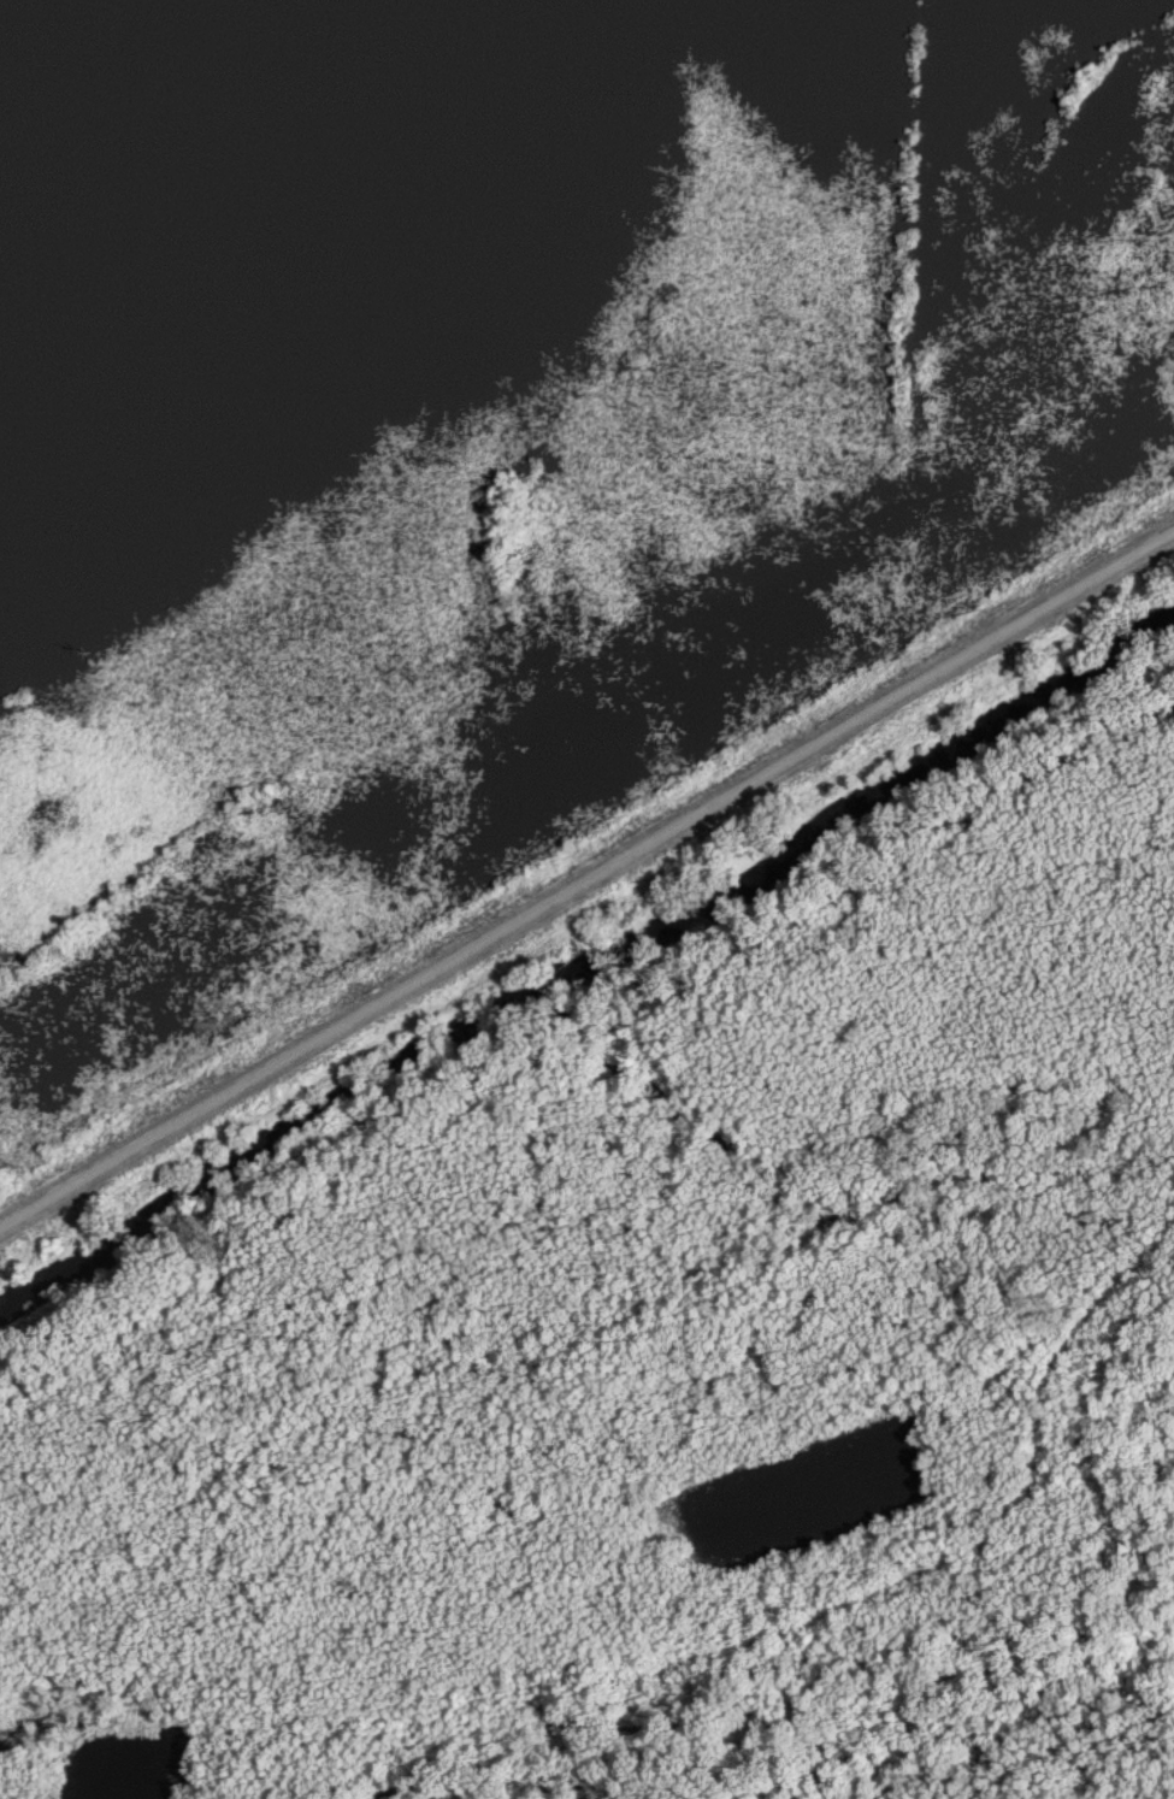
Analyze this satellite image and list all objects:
road: (586, 875)

